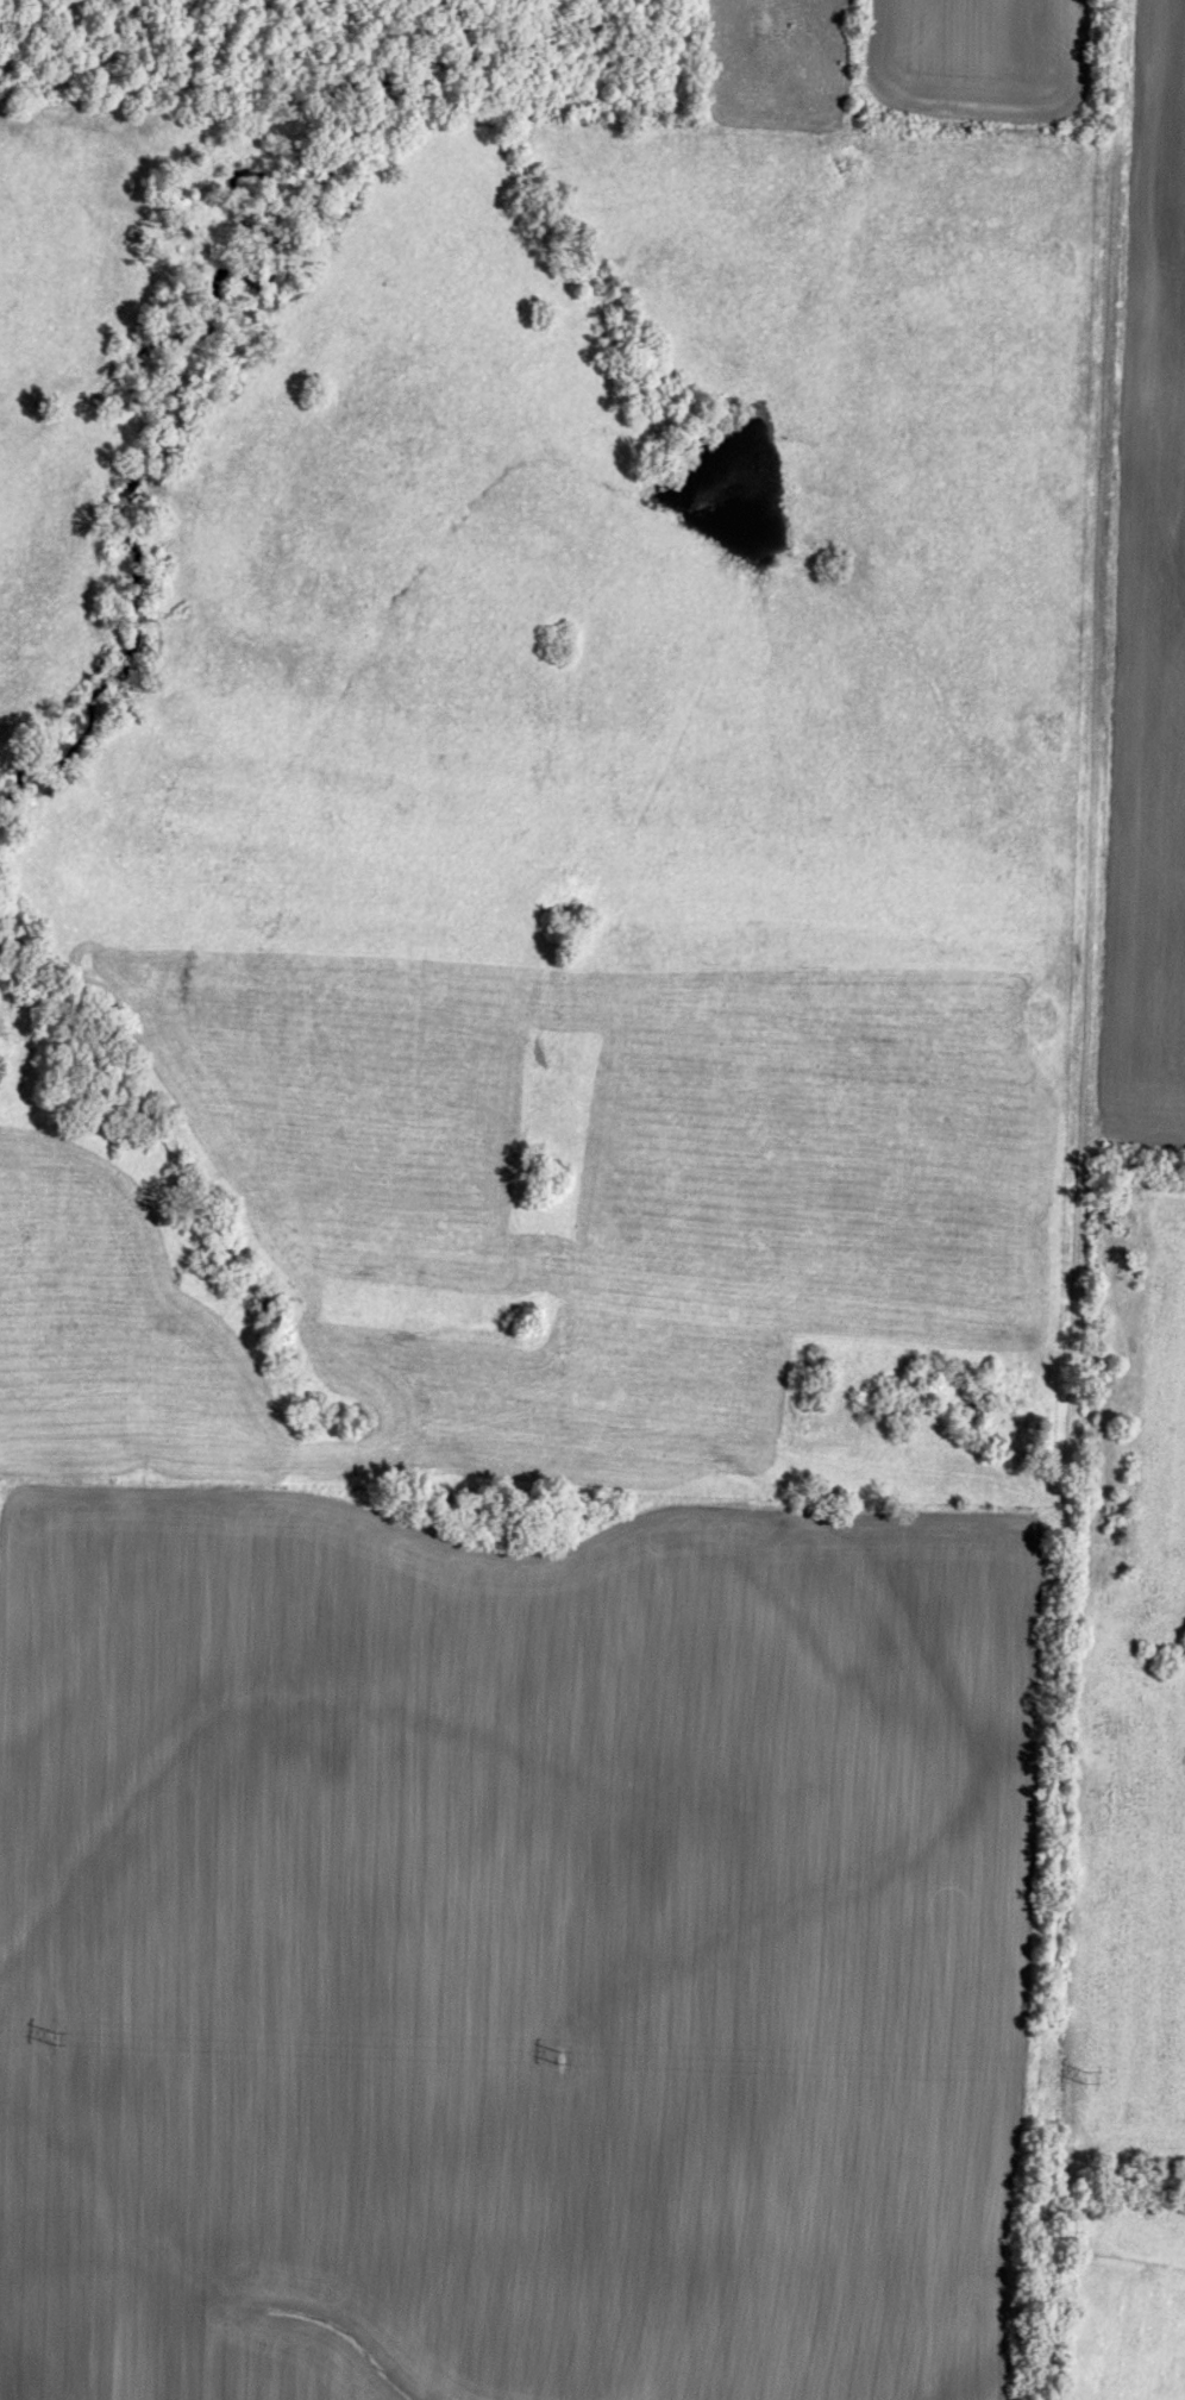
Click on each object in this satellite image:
power tower: (55, 2032)
power tower: (562, 2050)
power tower: (1090, 2073)

